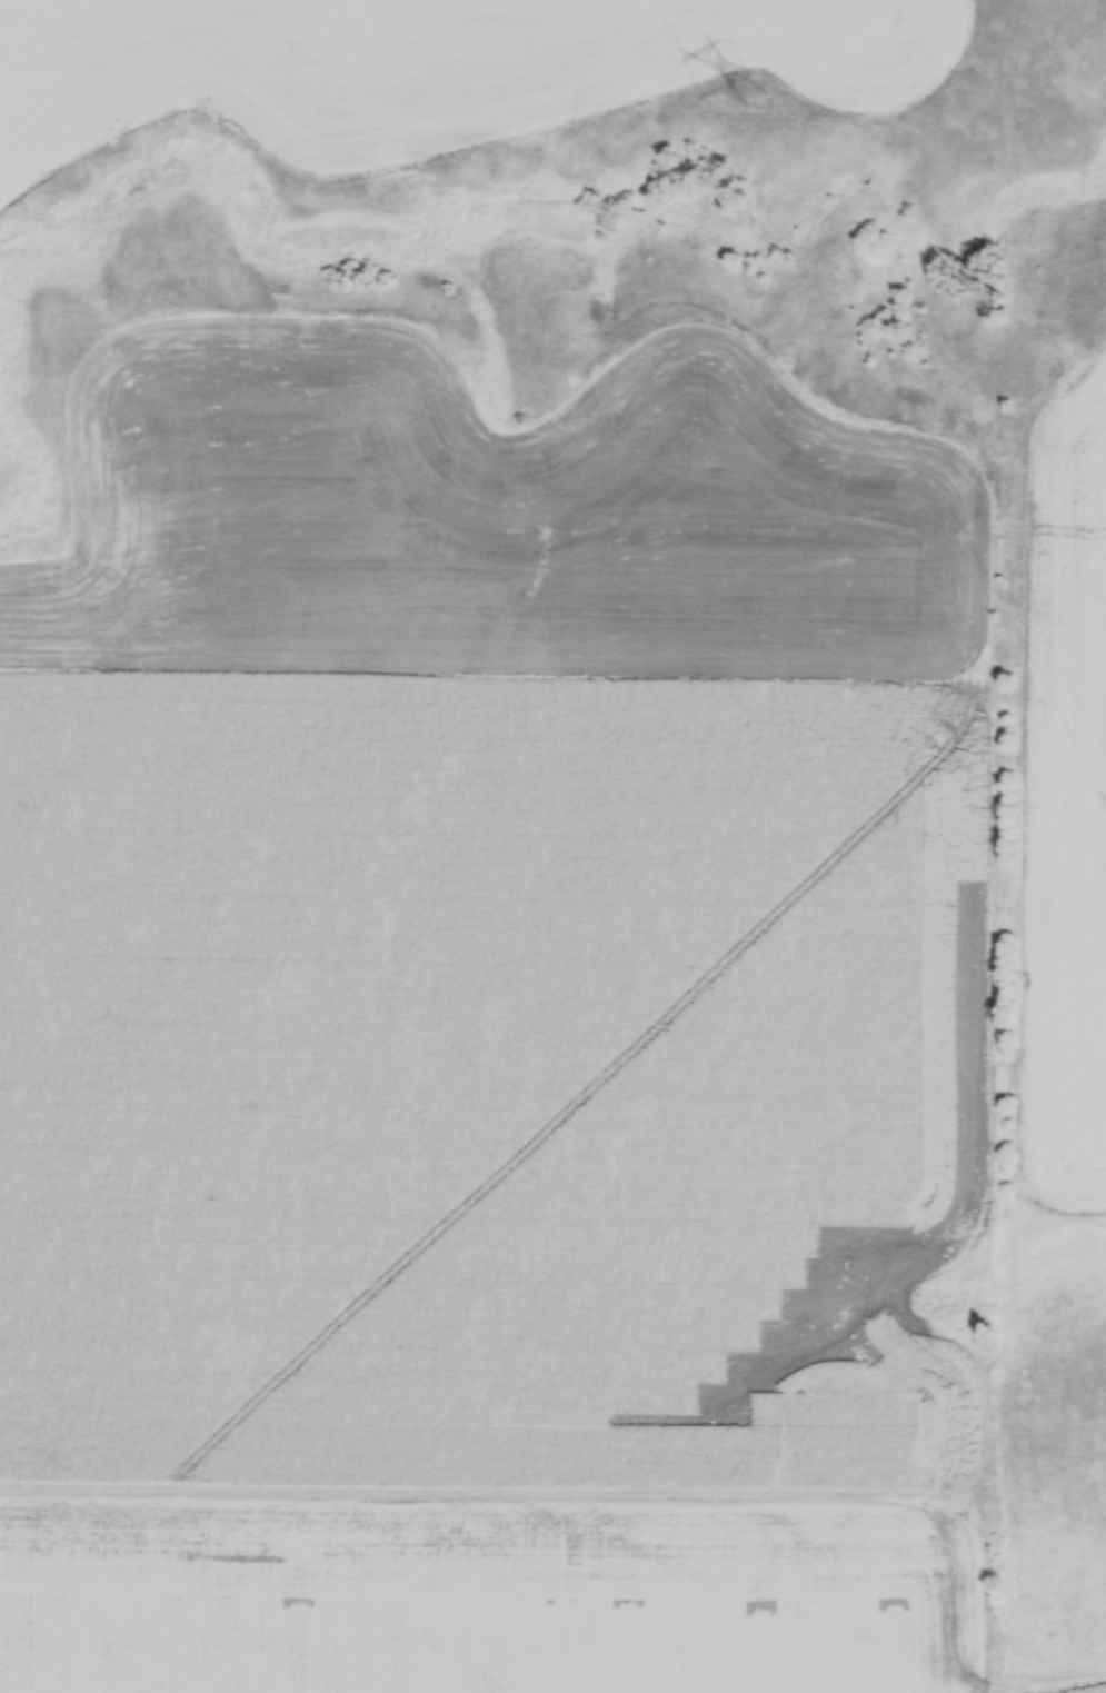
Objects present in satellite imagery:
power tower: (748, 88)

